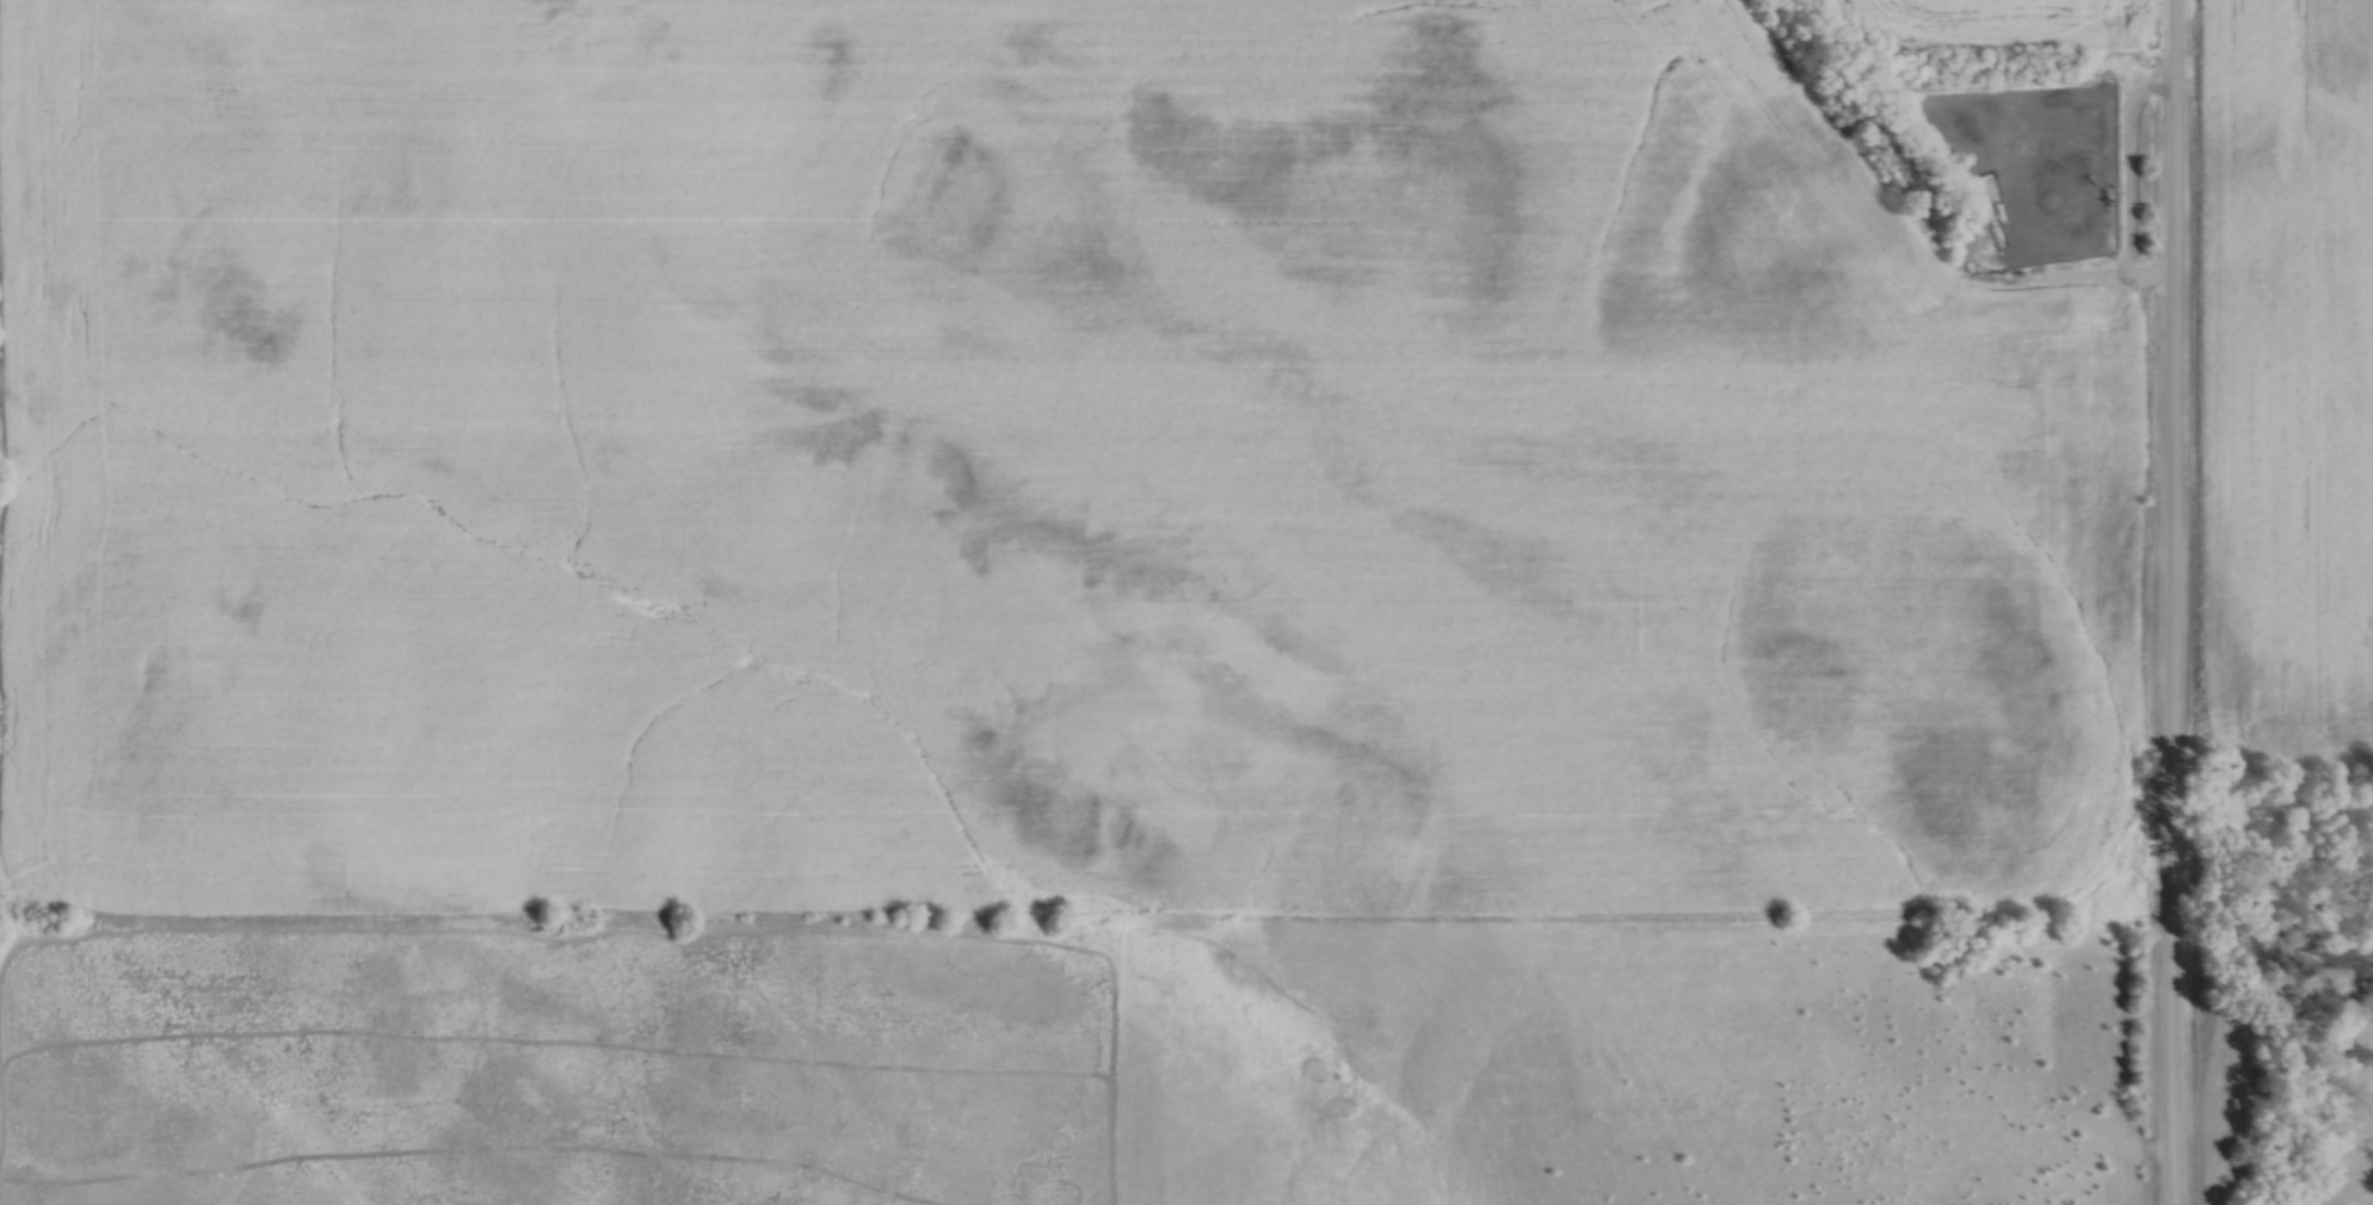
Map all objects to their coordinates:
road: (2174, 602)

